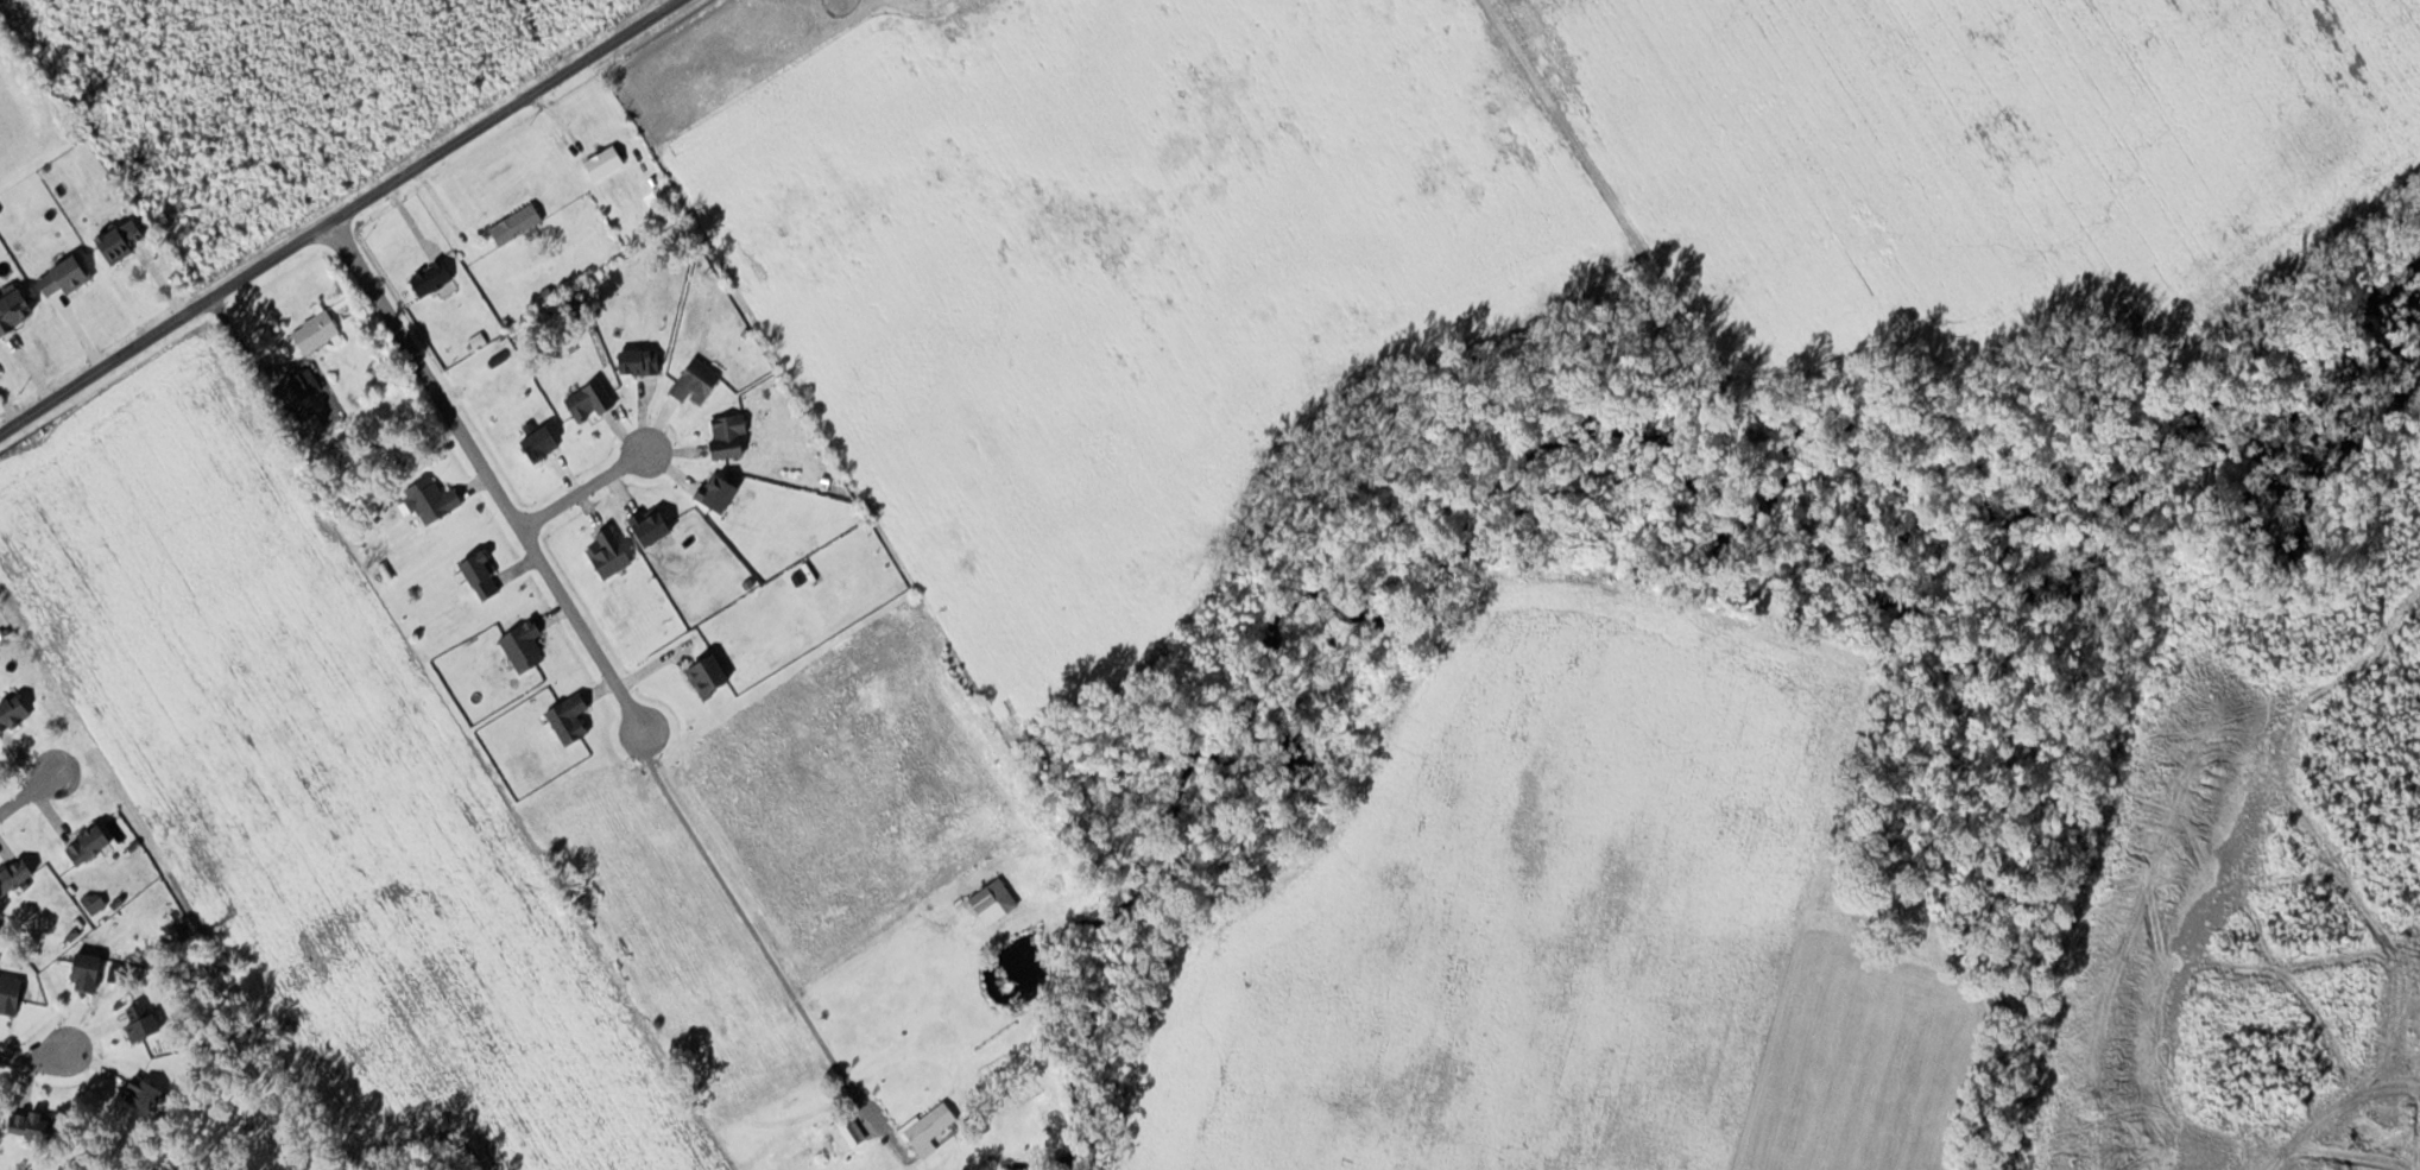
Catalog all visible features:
building: (607, 162)
road: (336, 217)
building: (518, 222)
building: (122, 239)
building: (69, 274)
building: (434, 276)
building: (15, 308)
building: (317, 330)
building: (701, 380)
building: (305, 384)
building: (589, 401)
building: (732, 435)
road: (486, 475)
road: (587, 485)
building: (436, 499)
building: (612, 551)
building: (15, 713)
building: (573, 717)
crop: (322, 774)
road: (30, 789)
building: (91, 842)
building: (17, 874)
building: (997, 900)
road: (764, 947)
road: (33, 1055)
building: (37, 1125)
building: (933, 1128)
building: (851, 1133)

